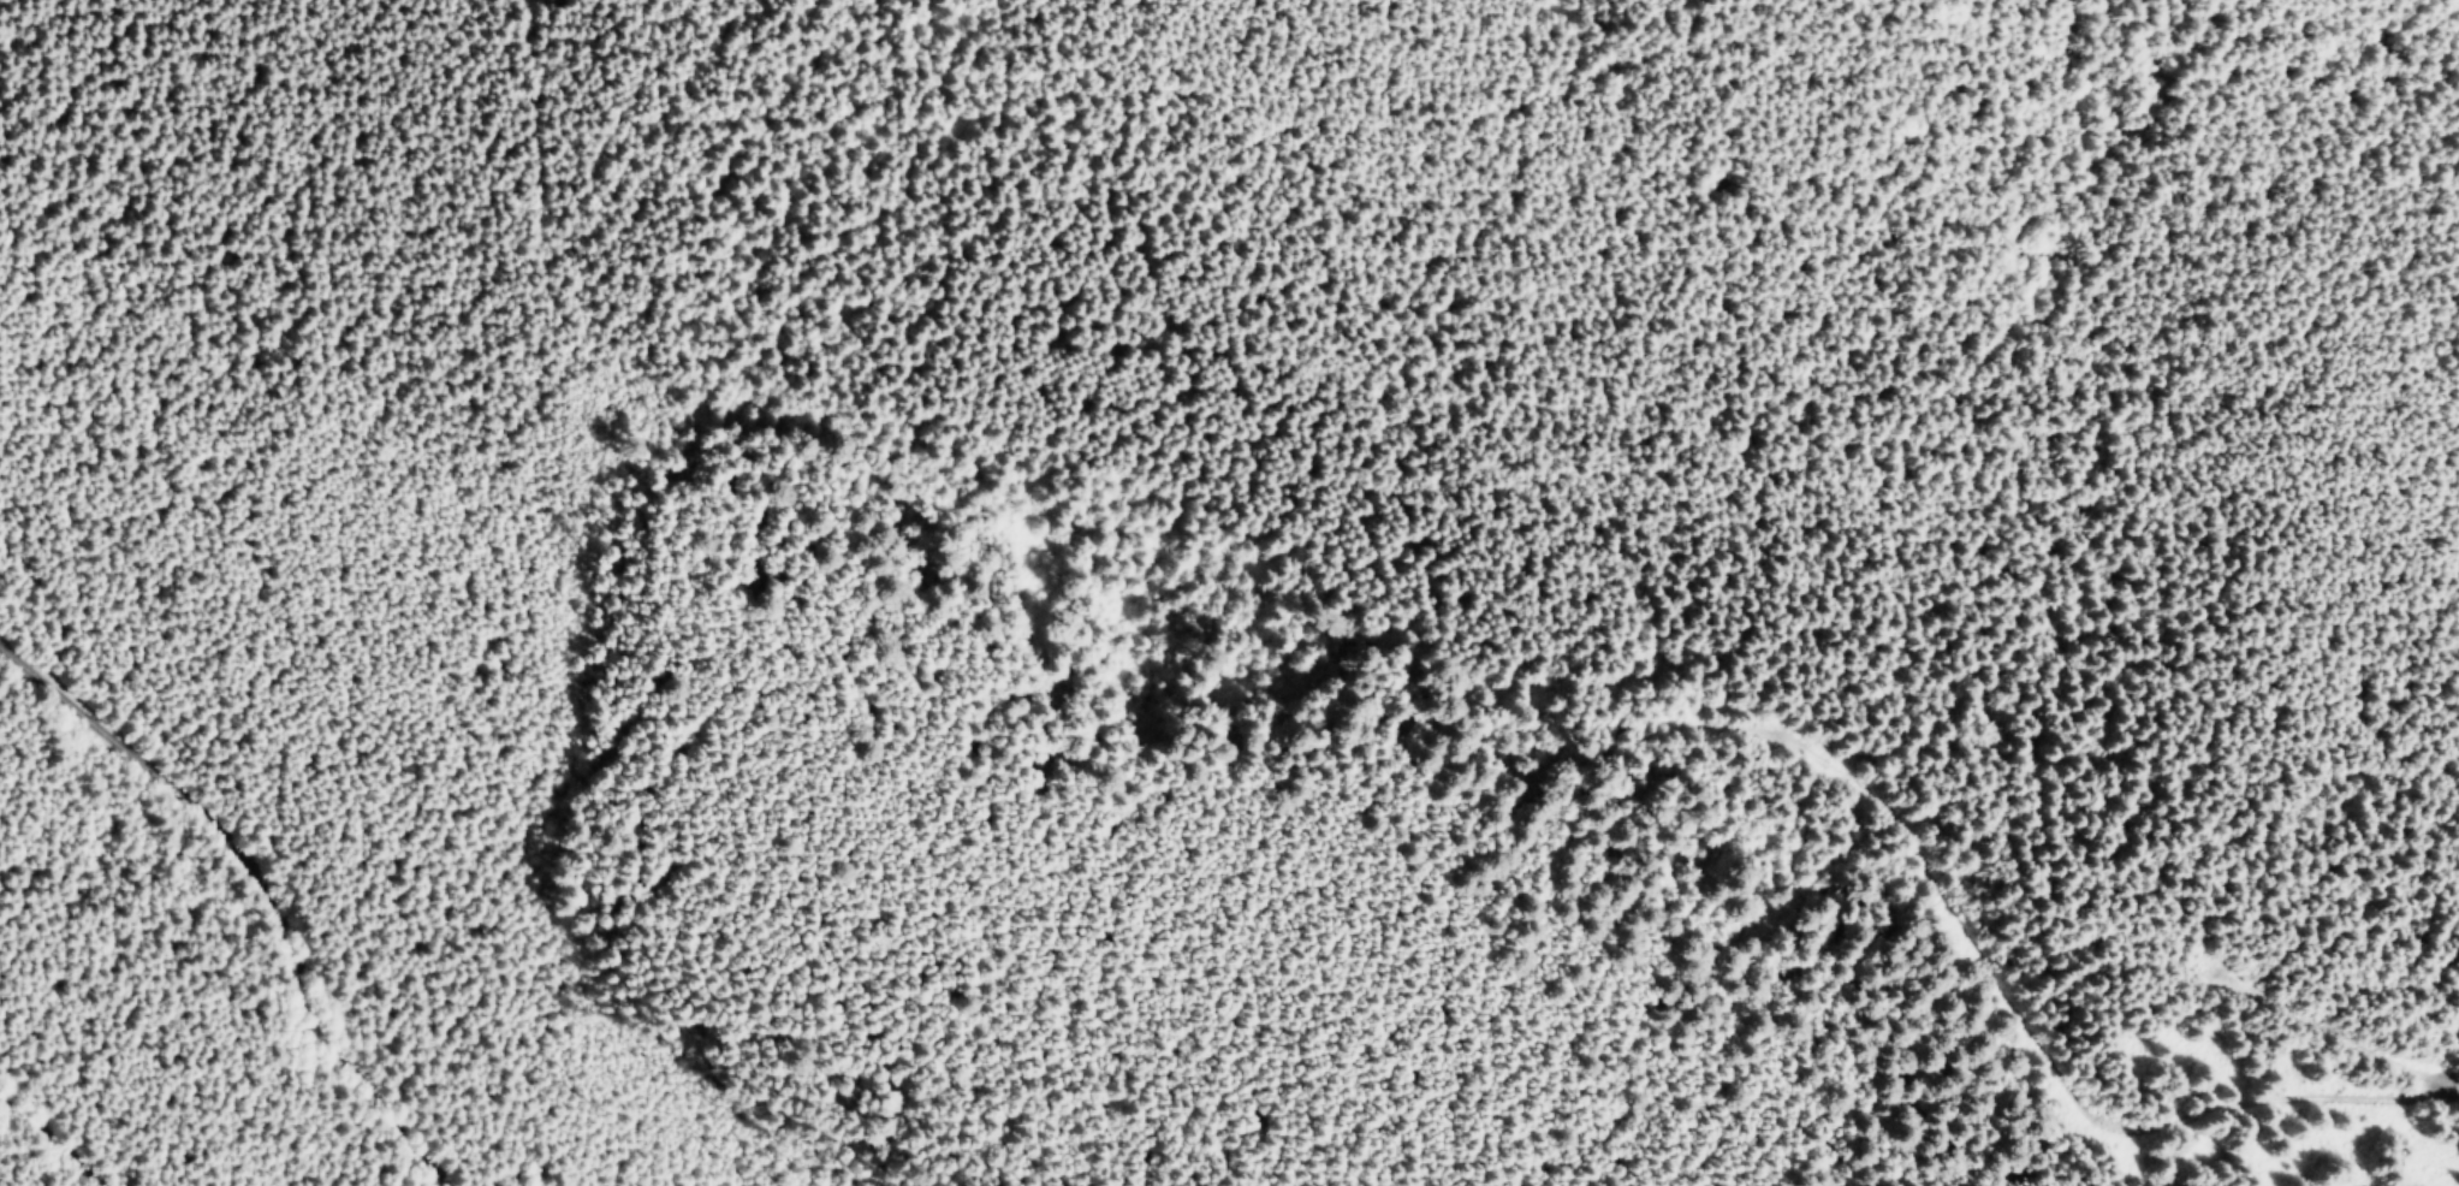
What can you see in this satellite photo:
road: (317, 871)
road: (2318, 969)
road: (141, 1123)

